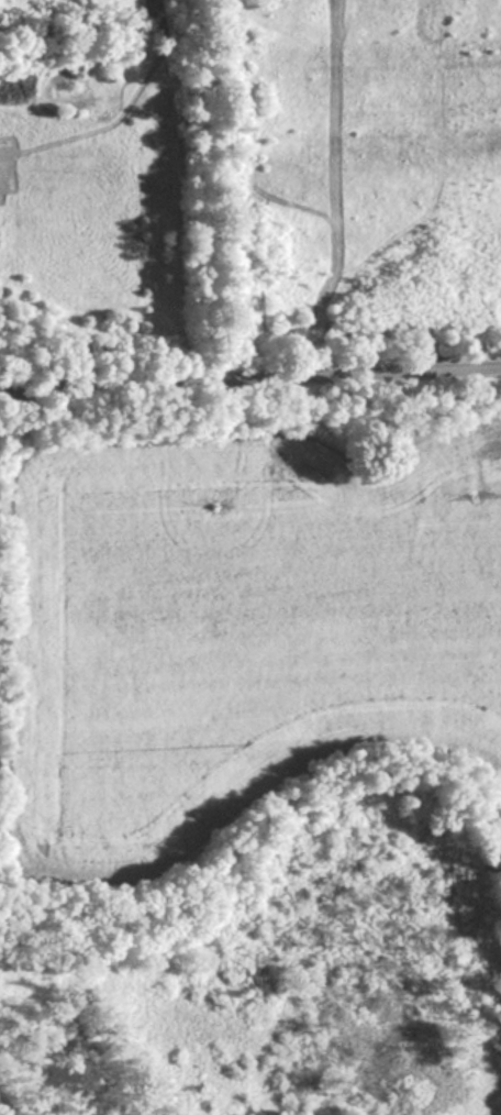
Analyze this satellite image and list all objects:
road: (250, 384)

